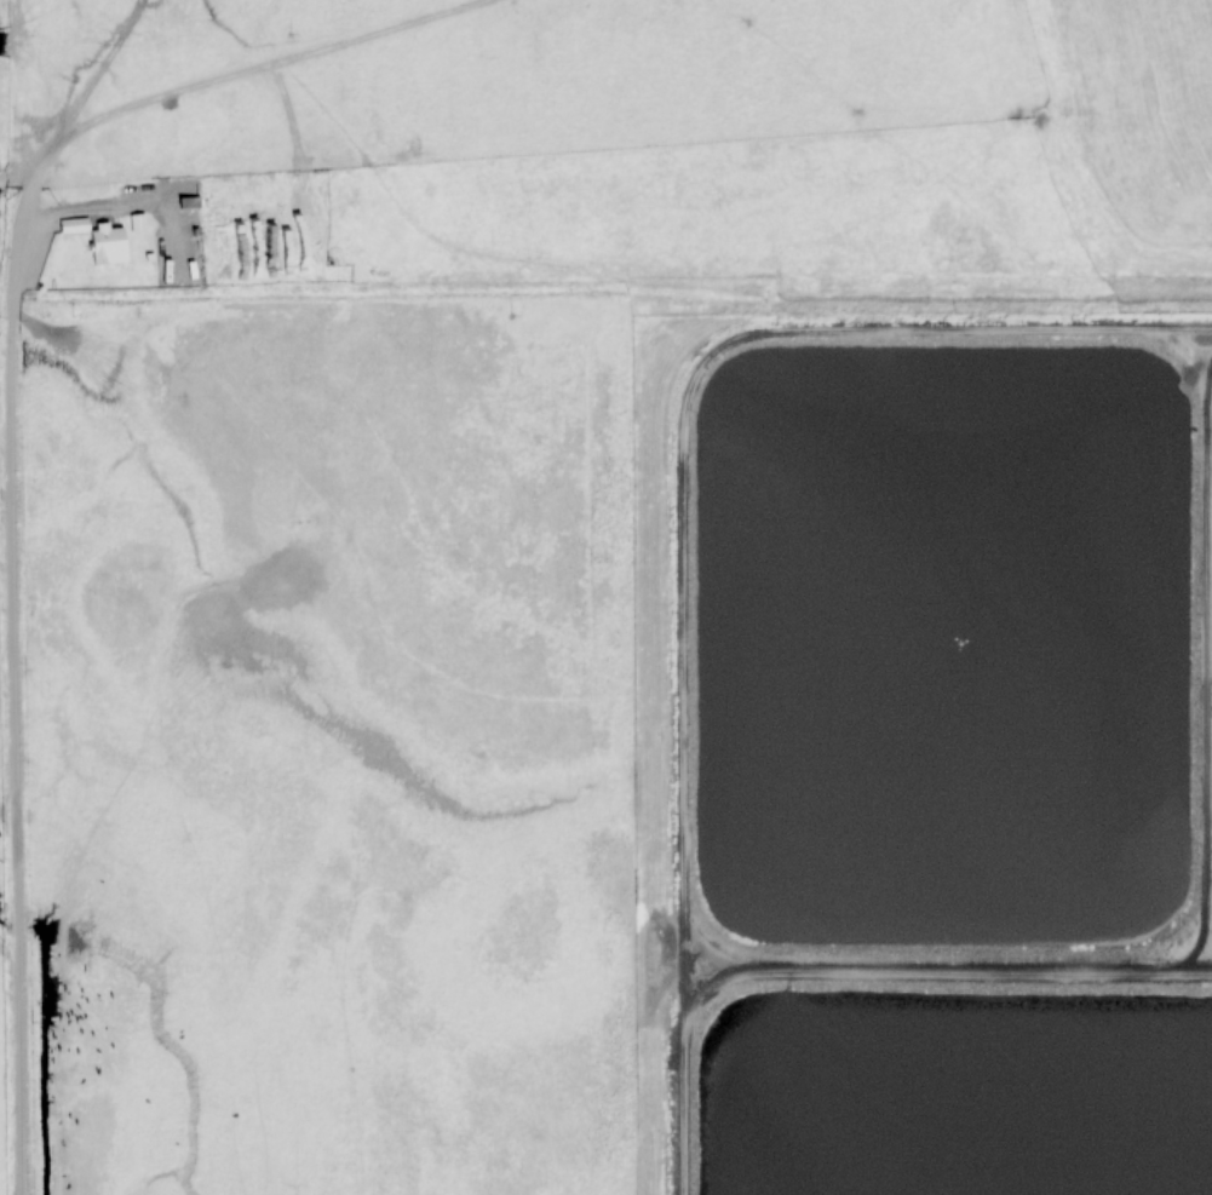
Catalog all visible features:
building: (262, 209)
building: (102, 241)
building: (298, 266)
road: (34, 427)
wastewater plant: (925, 751)

